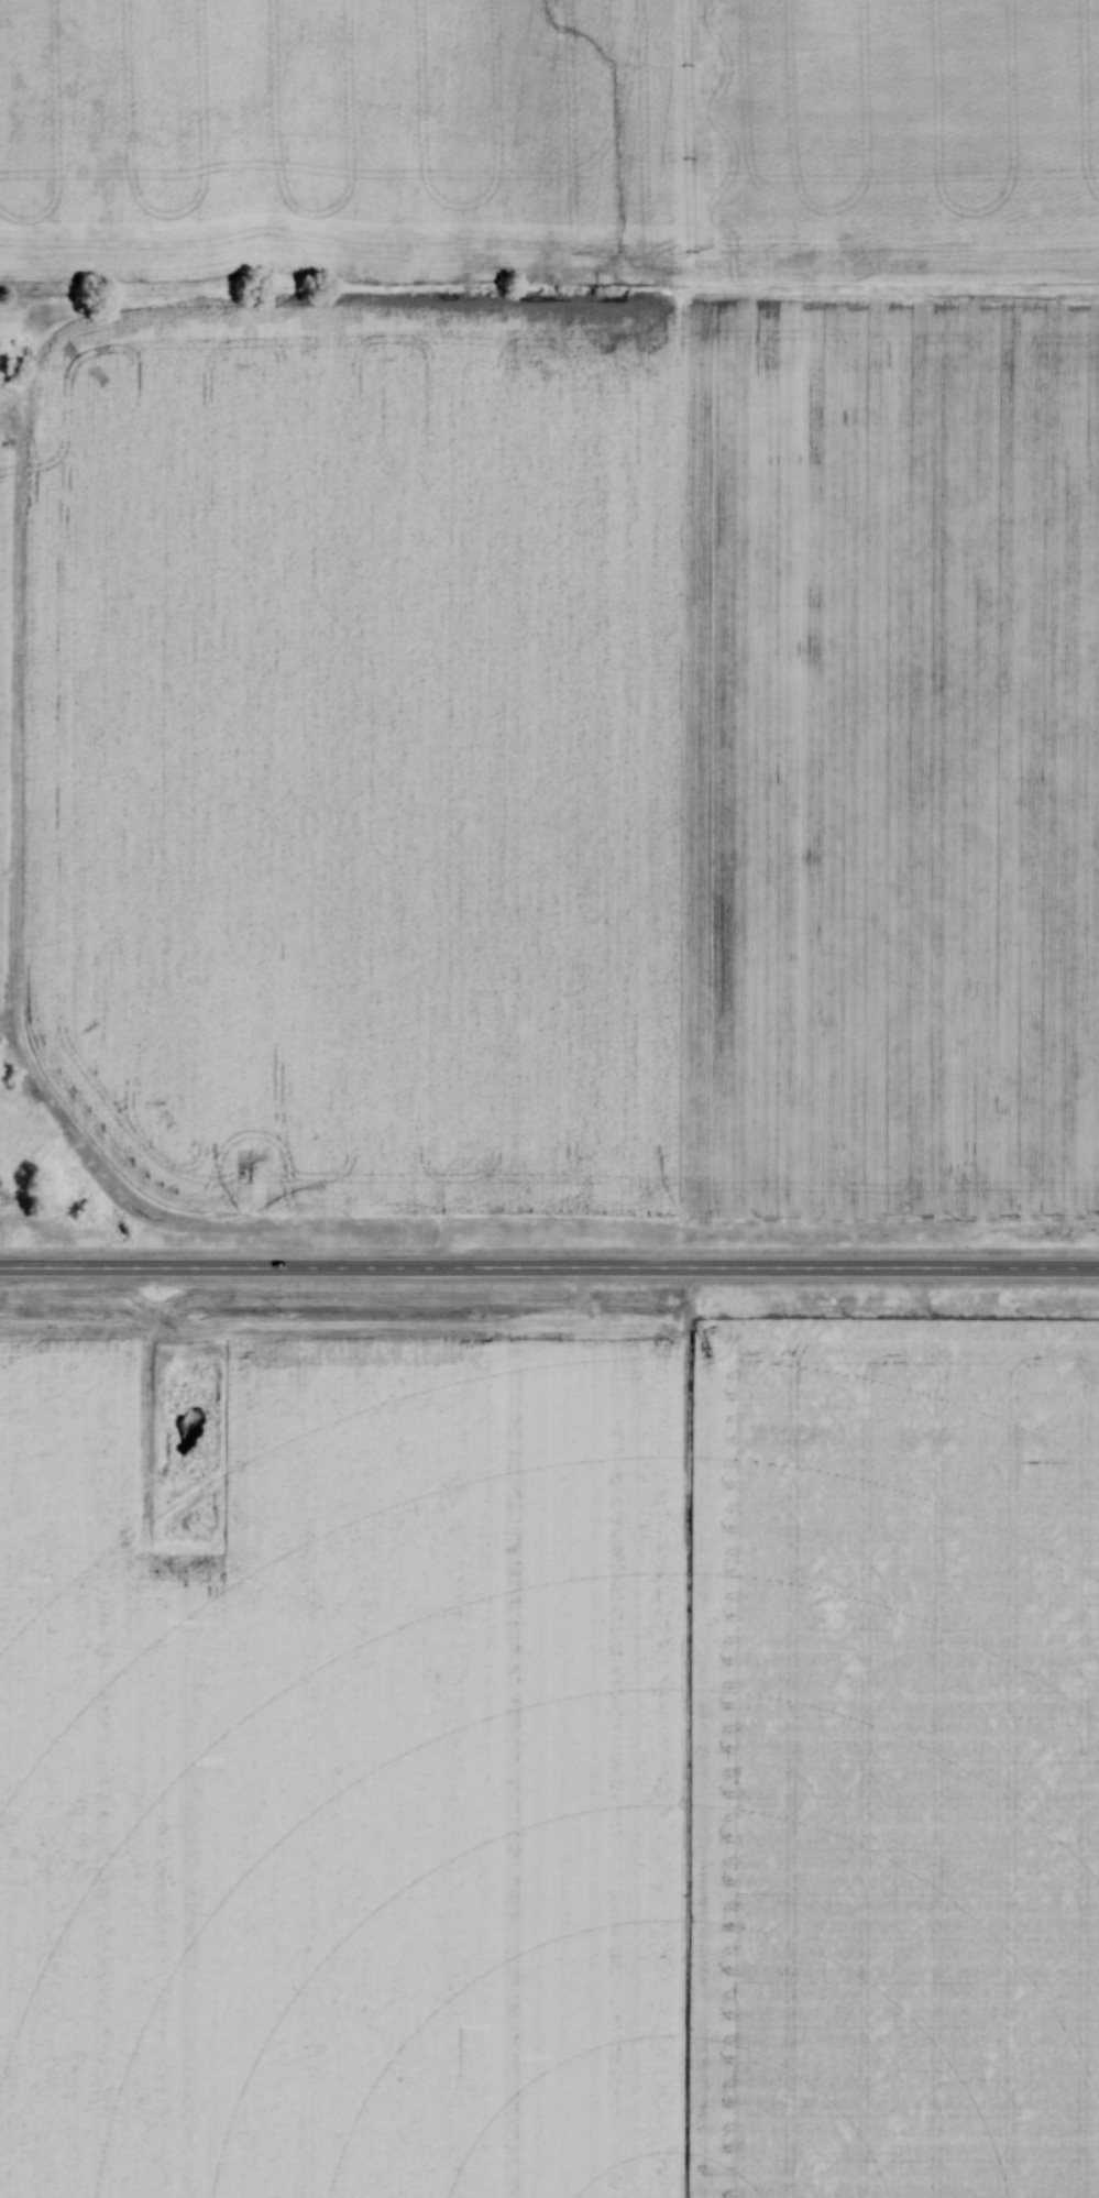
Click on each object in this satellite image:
road: (549, 1271)

